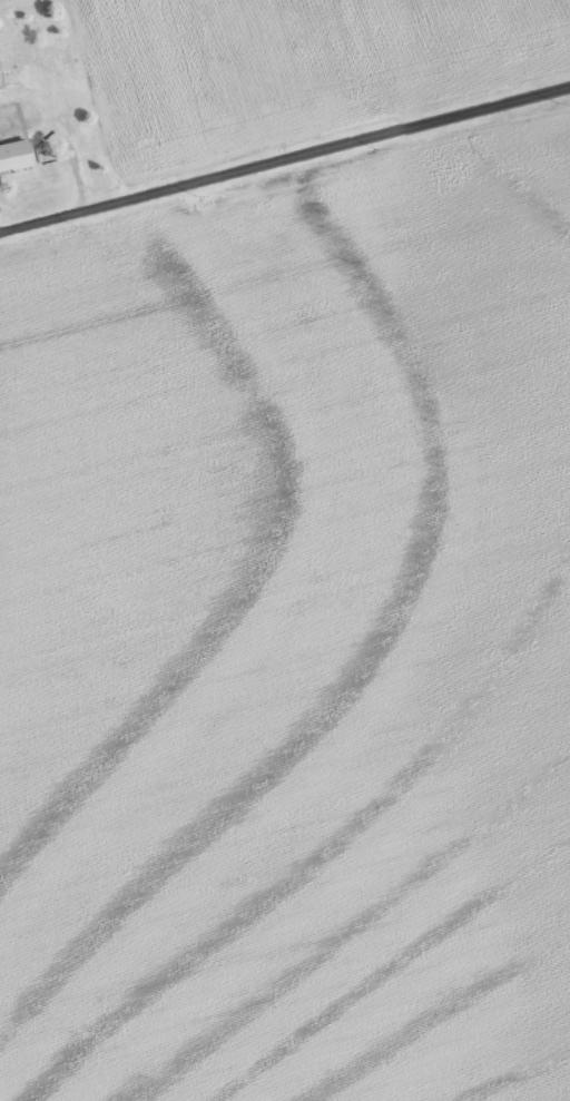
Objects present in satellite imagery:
road: (285, 156)

